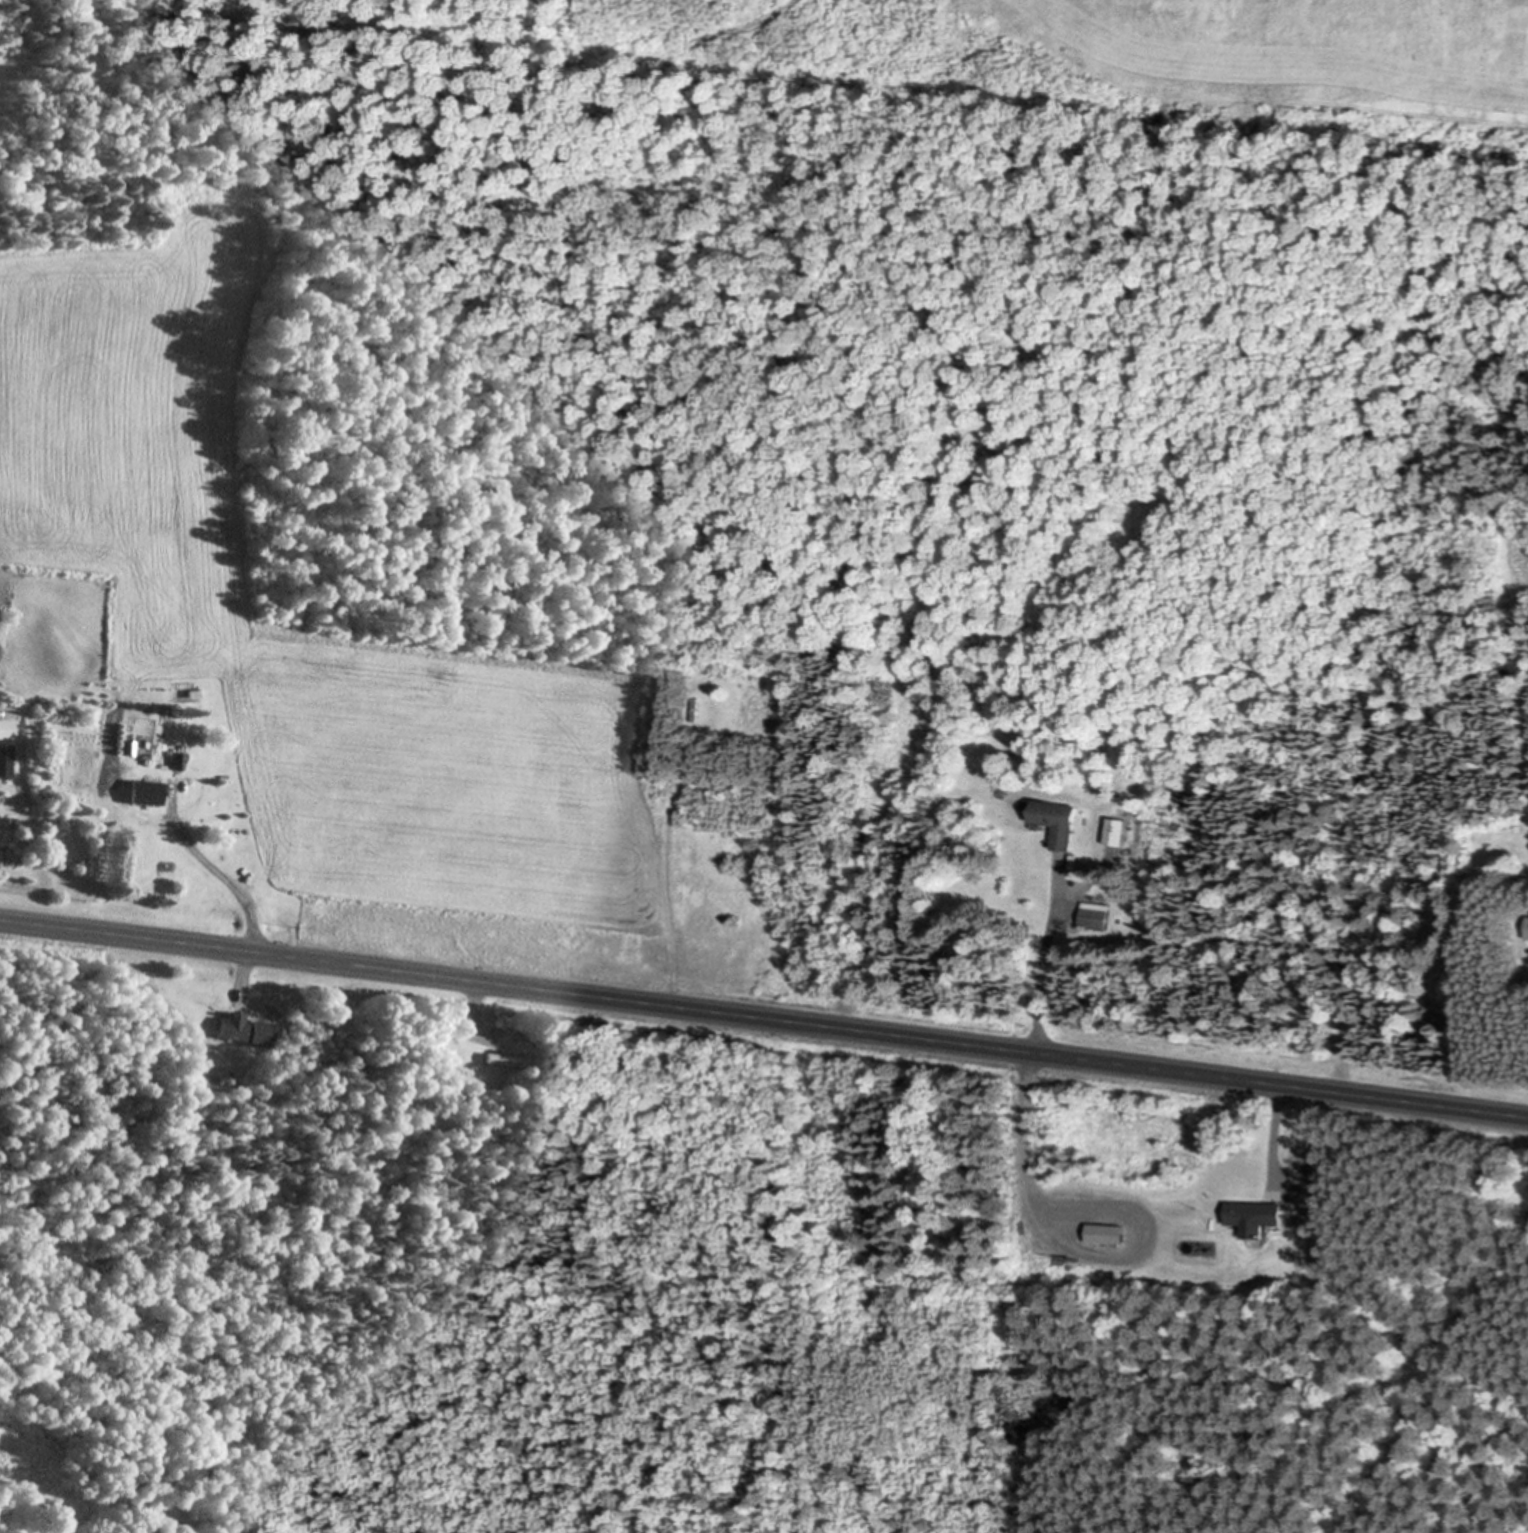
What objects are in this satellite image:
building: (5, 730)
building: (4, 761)
building: (175, 762)
building: (142, 793)
building: (1060, 823)
road: (244, 901)
building: (1098, 917)
road: (472, 1004)
road: (763, 1019)
building: (241, 1031)
road: (1032, 1044)
building: (503, 1061)
road: (1276, 1130)
building: (1259, 1214)
building: (1107, 1234)

